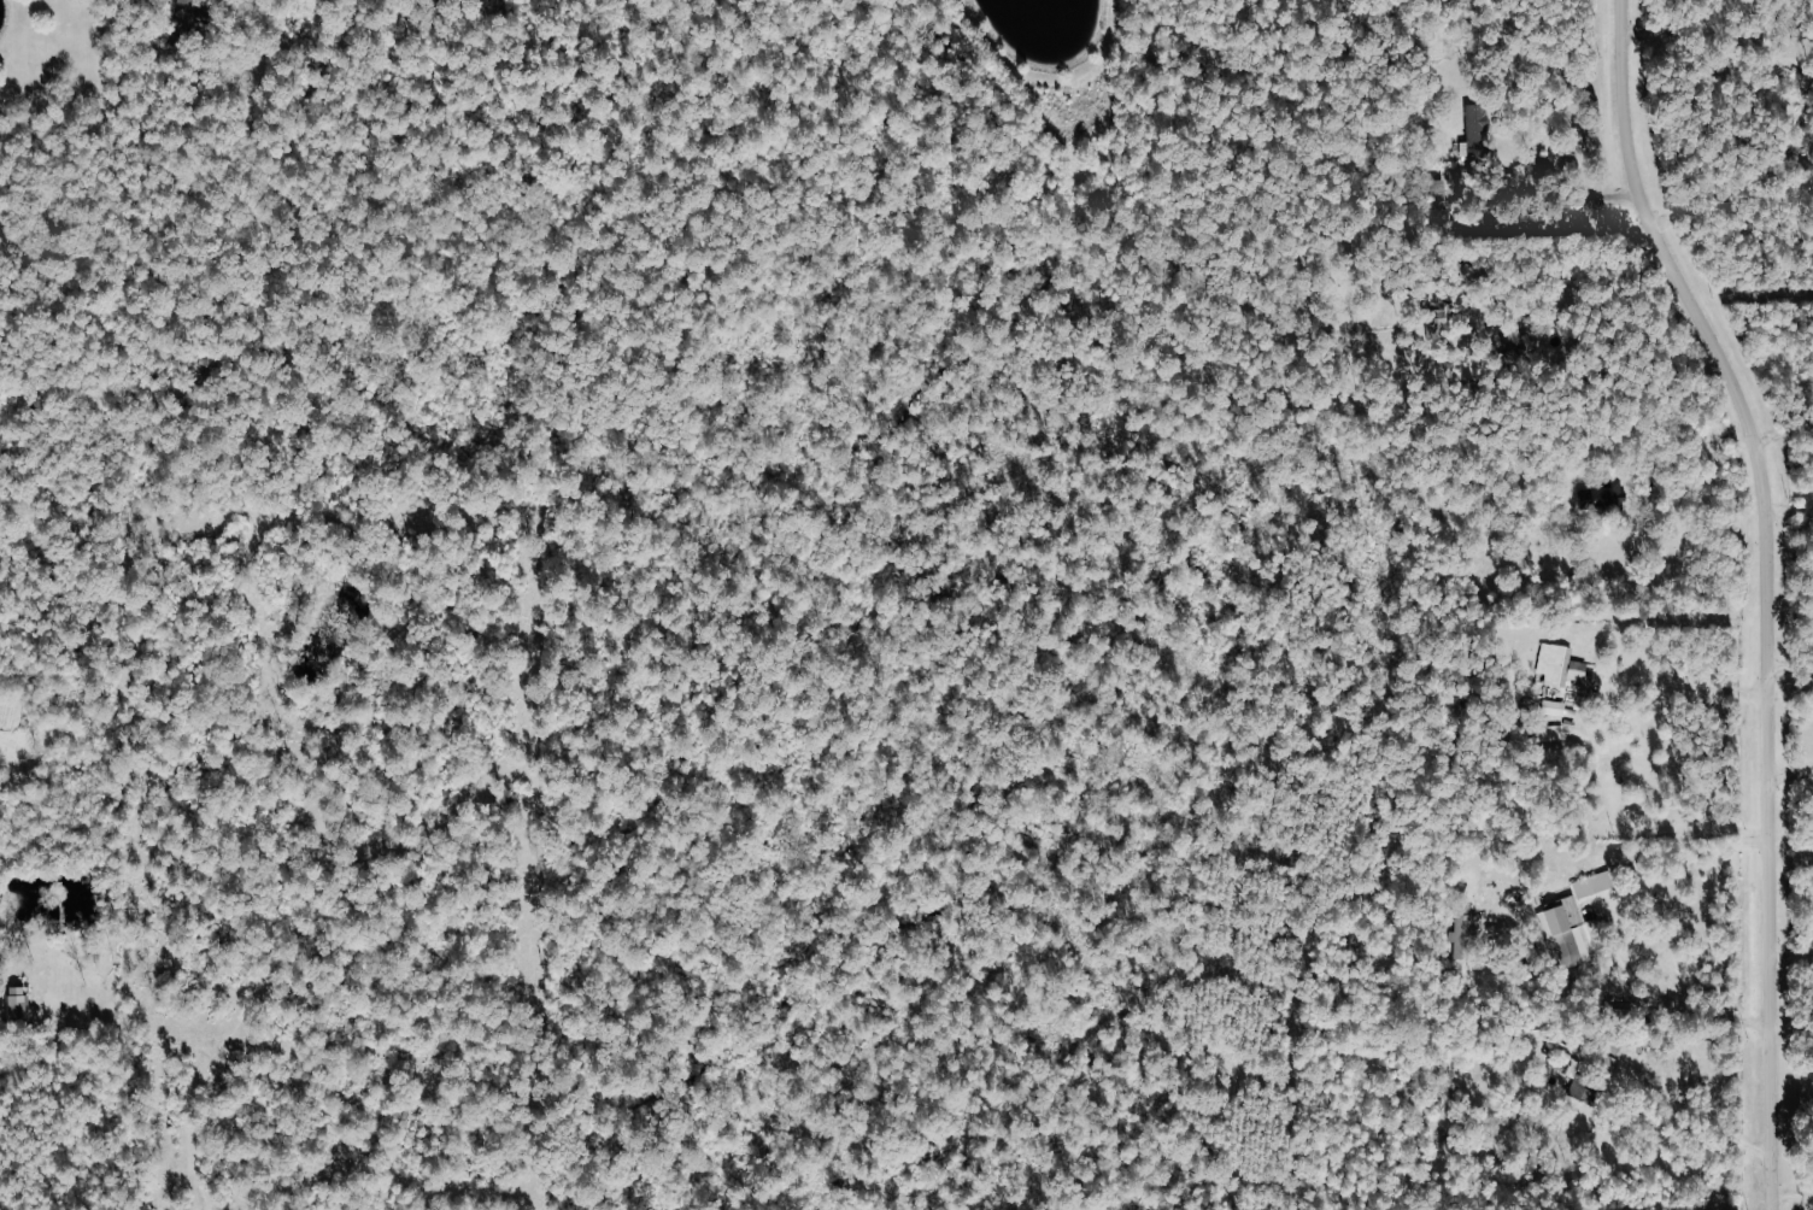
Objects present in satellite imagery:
building: (187, 18)
road: (1674, 35)
building: (1477, 134)
road: (1563, 199)
building: (1438, 201)
road: (1779, 436)
road: (1690, 454)
building: (1604, 495)
road: (1788, 506)
road: (1764, 591)
building: (1559, 665)
road: (1789, 670)
road: (1696, 687)
building: (1543, 706)
building: (1548, 733)
road: (1788, 775)
road: (1686, 858)
building: (1594, 885)
building: (1563, 933)
building: (1465, 936)
road: (1789, 951)
road: (10, 964)
building: (17, 1004)
road: (1688, 1006)
building: (1584, 1089)
road: (1688, 1115)
road: (1790, 1198)

